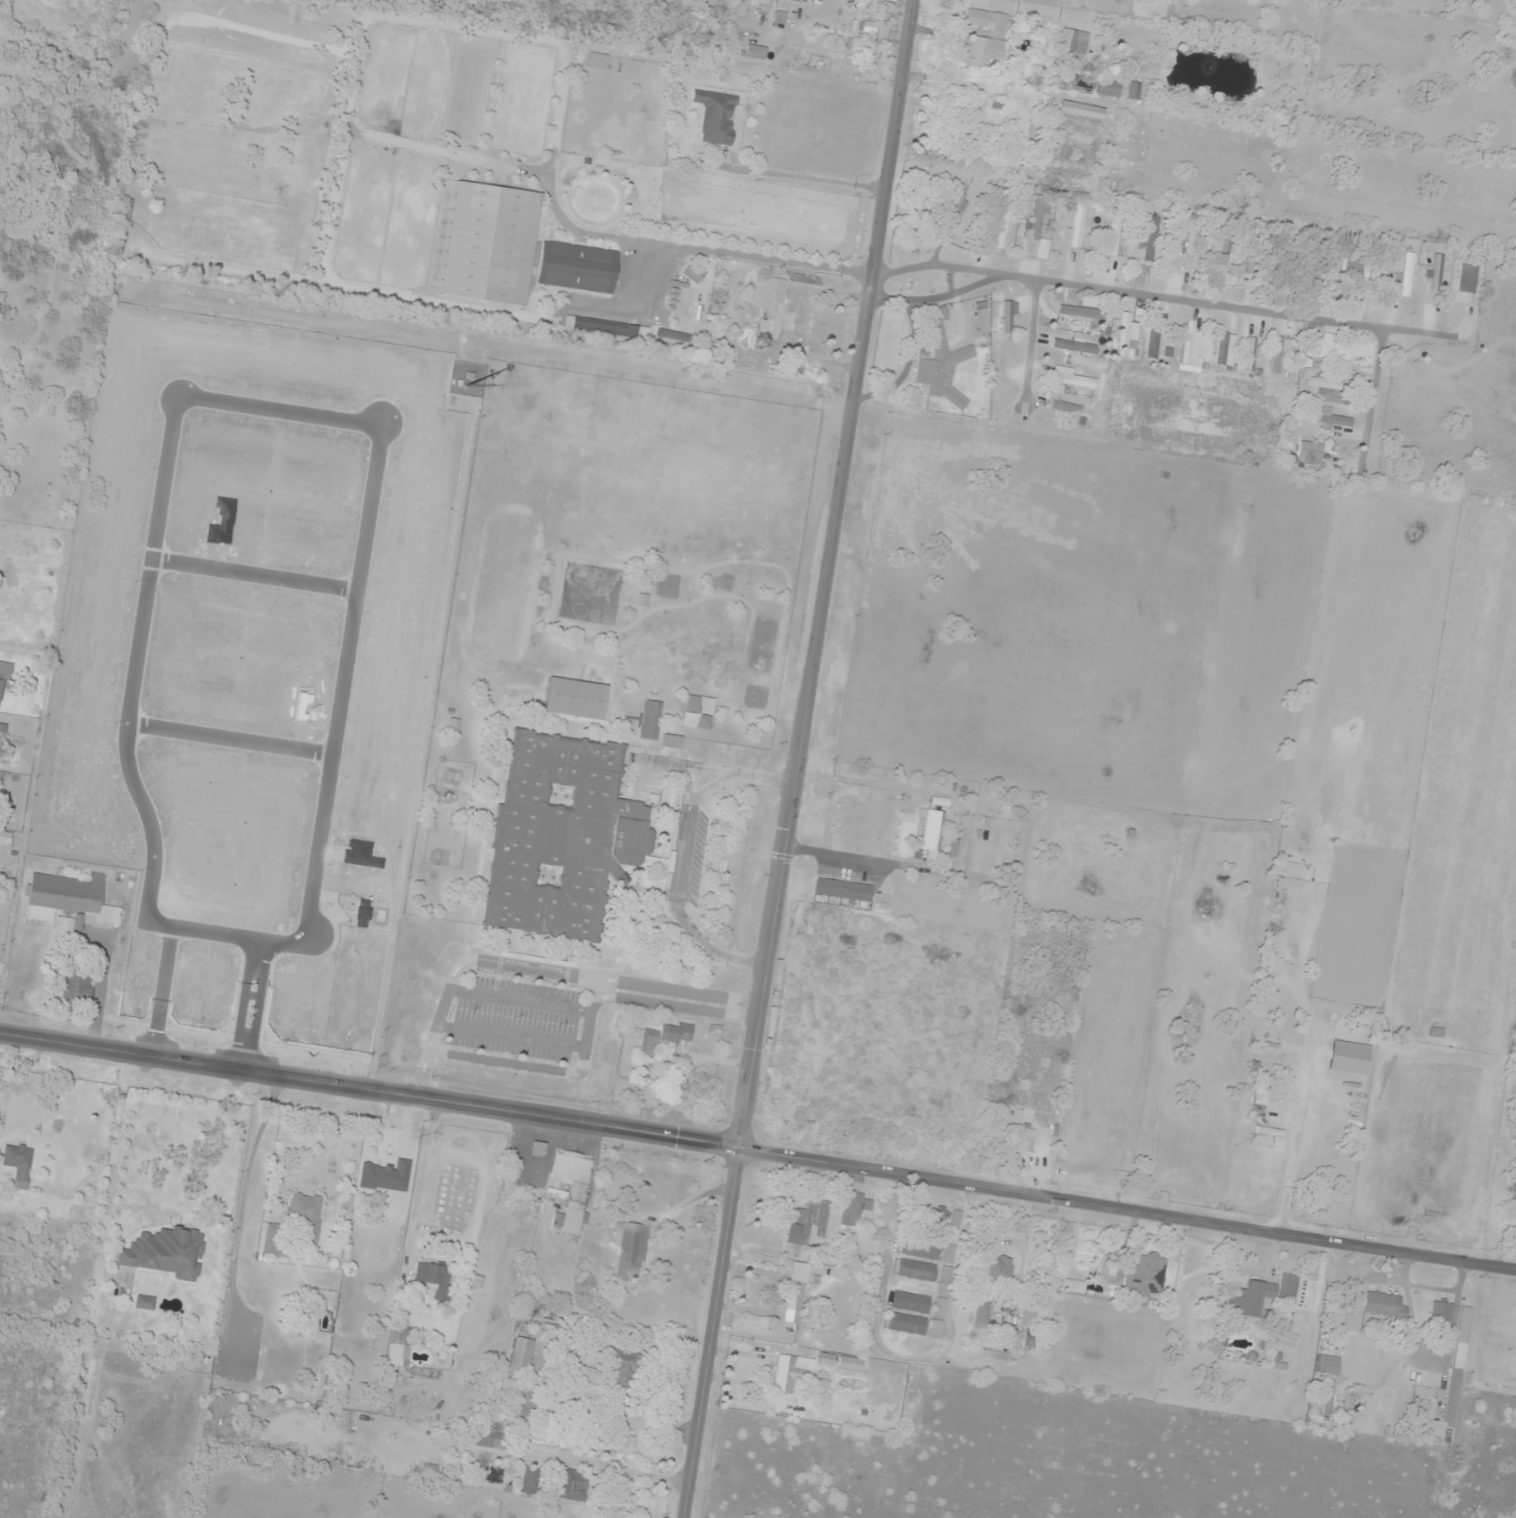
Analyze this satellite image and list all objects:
building: (765, 2)
building: (783, 4)
building: (983, 38)
building: (864, 40)
building: (1074, 41)
building: (597, 61)
road: (978, 86)
building: (1110, 88)
building: (1135, 91)
building: (1082, 110)
building: (716, 117)
road: (1028, 127)
building: (953, 206)
building: (1038, 218)
building: (1001, 229)
building: (1076, 230)
building: (1114, 232)
building: (1150, 239)
building: (490, 244)
building: (1187, 245)
building: (1220, 257)
building: (577, 268)
building: (694, 273)
building: (1437, 273)
building: (1406, 274)
building: (1468, 279)
road: (1166, 298)
building: (768, 312)
building: (1008, 317)
building: (605, 327)
building: (1123, 332)
building: (672, 336)
road: (1031, 339)
building: (1153, 342)
building: (1189, 342)
building: (1074, 346)
building: (1220, 348)
building: (1331, 348)
building: (1278, 353)
building: (1252, 355)
building: (942, 363)
building: (1070, 378)
building: (1328, 390)
road: (196, 398)
building: (1066, 407)
building: (1332, 420)
building: (1312, 454)
road: (255, 575)
building: (598, 580)
road: (29, 585)
building: (6, 676)
building: (574, 701)
building: (650, 720)
road: (230, 741)
building: (671, 742)
road: (796, 758)
building: (933, 831)
building: (561, 838)
building: (961, 843)
building: (988, 843)
building: (1008, 849)
road: (895, 865)
building: (843, 890)
building: (199, 898)
building: (69, 899)
building: (63, 936)
building: (169, 950)
road: (539, 971)
building: (78, 988)
road: (165, 991)
road: (519, 1000)
road: (253, 1005)
building: (1191, 1021)
road: (587, 1030)
road: (510, 1037)
building: (665, 1037)
building: (1348, 1058)
road: (370, 1089)
building: (1259, 1100)
building: (1028, 1138)
building: (400, 1151)
building: (18, 1165)
building: (572, 1190)
road: (1128, 1208)
building: (854, 1209)
building: (306, 1216)
building: (929, 1216)
building: (807, 1223)
building: (276, 1240)
building: (630, 1250)
building: (920, 1250)
building: (164, 1252)
building: (950, 1254)
building: (916, 1270)
building: (998, 1272)
building: (431, 1275)
building: (946, 1276)
building: (1145, 1276)
building: (1072, 1286)
building: (797, 1295)
building: (1257, 1296)
building: (325, 1300)
building: (910, 1302)
building: (144, 1303)
building: (1384, 1306)
building: (939, 1308)
building: (1440, 1314)
building: (980, 1321)
building: (906, 1324)
building: (935, 1330)
building: (399, 1348)
building: (520, 1359)
building: (851, 1364)
building: (1327, 1365)
building: (1457, 1366)
building: (624, 1368)
building: (791, 1373)
building: (511, 1390)
building: (271, 1391)
building: (1327, 1399)
building: (489, 1440)
building: (430, 1470)
building: (530, 1480)
building: (573, 1485)

